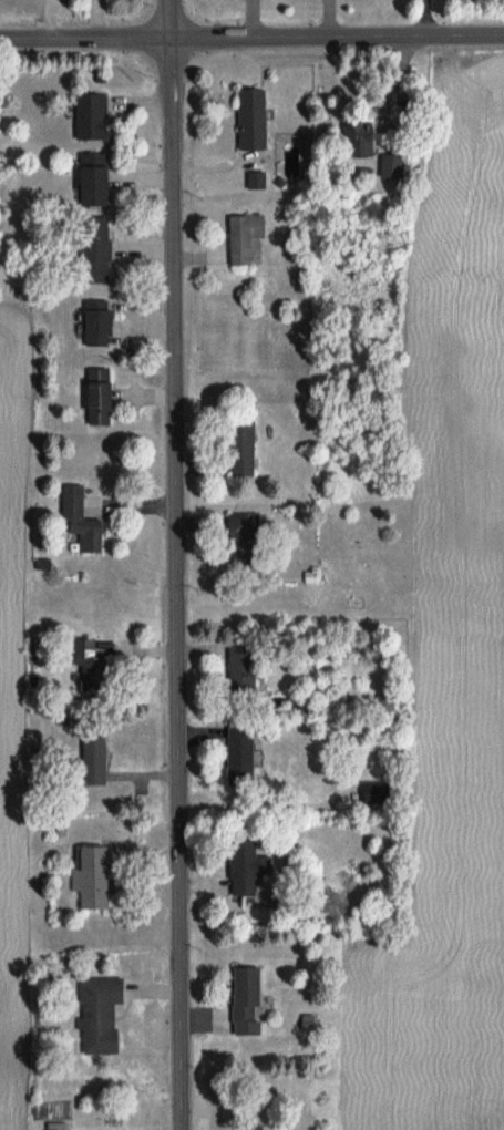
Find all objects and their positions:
road: (251, 37)
building: (92, 116)
building: (253, 120)
building: (394, 166)
building: (95, 179)
building: (245, 237)
building: (96, 250)
building: (100, 325)
building: (101, 398)
building: (243, 452)
building: (82, 521)
building: (245, 542)
road: (174, 564)
building: (91, 664)
crop: (448, 666)
building: (245, 669)
crop: (19, 732)
building: (243, 756)
building: (96, 761)
building: (377, 793)
building: (249, 869)
building: (95, 879)
building: (248, 1001)
building: (102, 1015)
building: (250, 1127)

